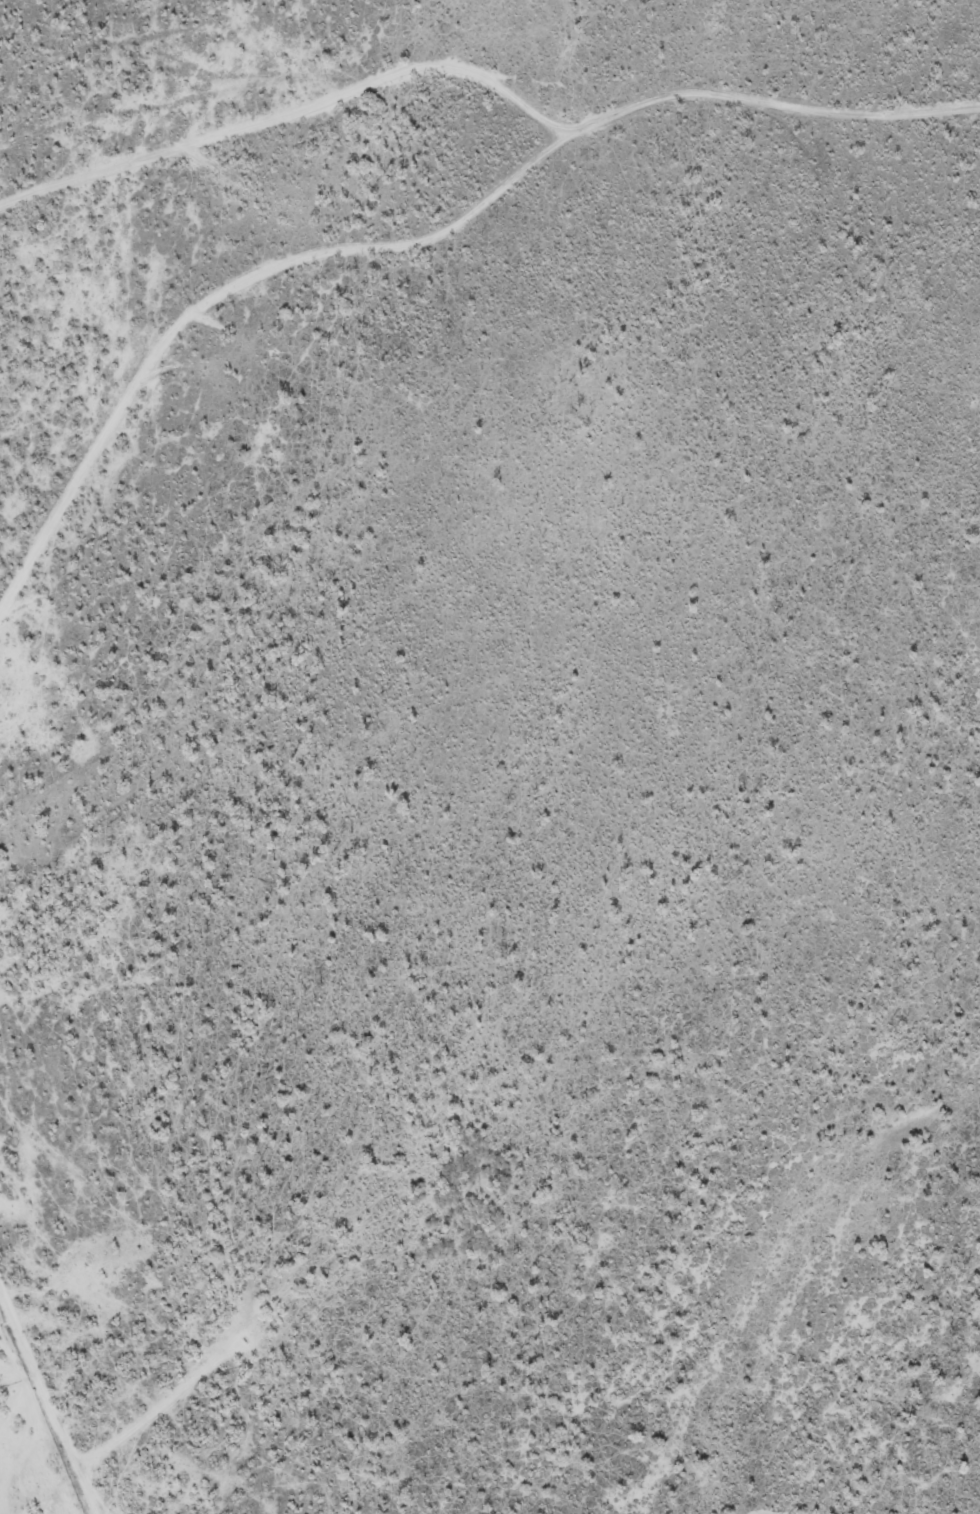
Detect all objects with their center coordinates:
road: (487, 103)
road: (234, 343)
road: (21, 1446)

